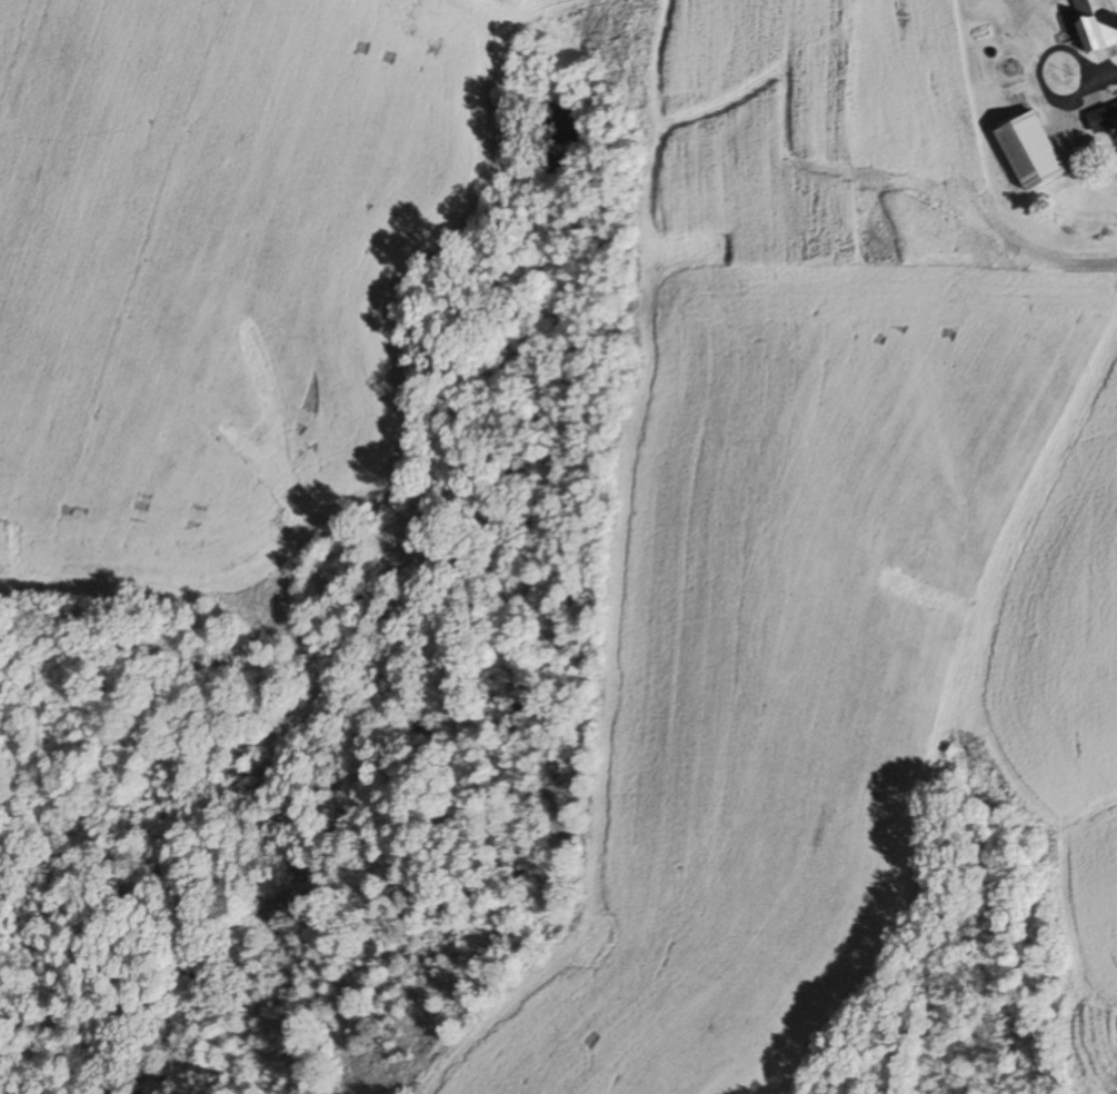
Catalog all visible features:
building: (1096, 22)
road: (1036, 71)
road: (1100, 72)
building: (1103, 118)
building: (1030, 151)

